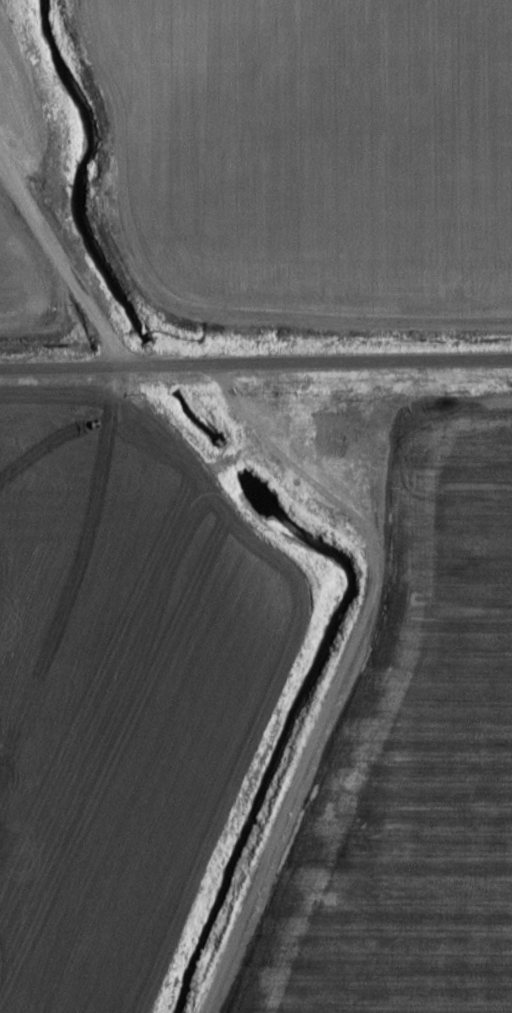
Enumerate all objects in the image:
road: (72, 282)
road: (337, 362)
road: (69, 371)

